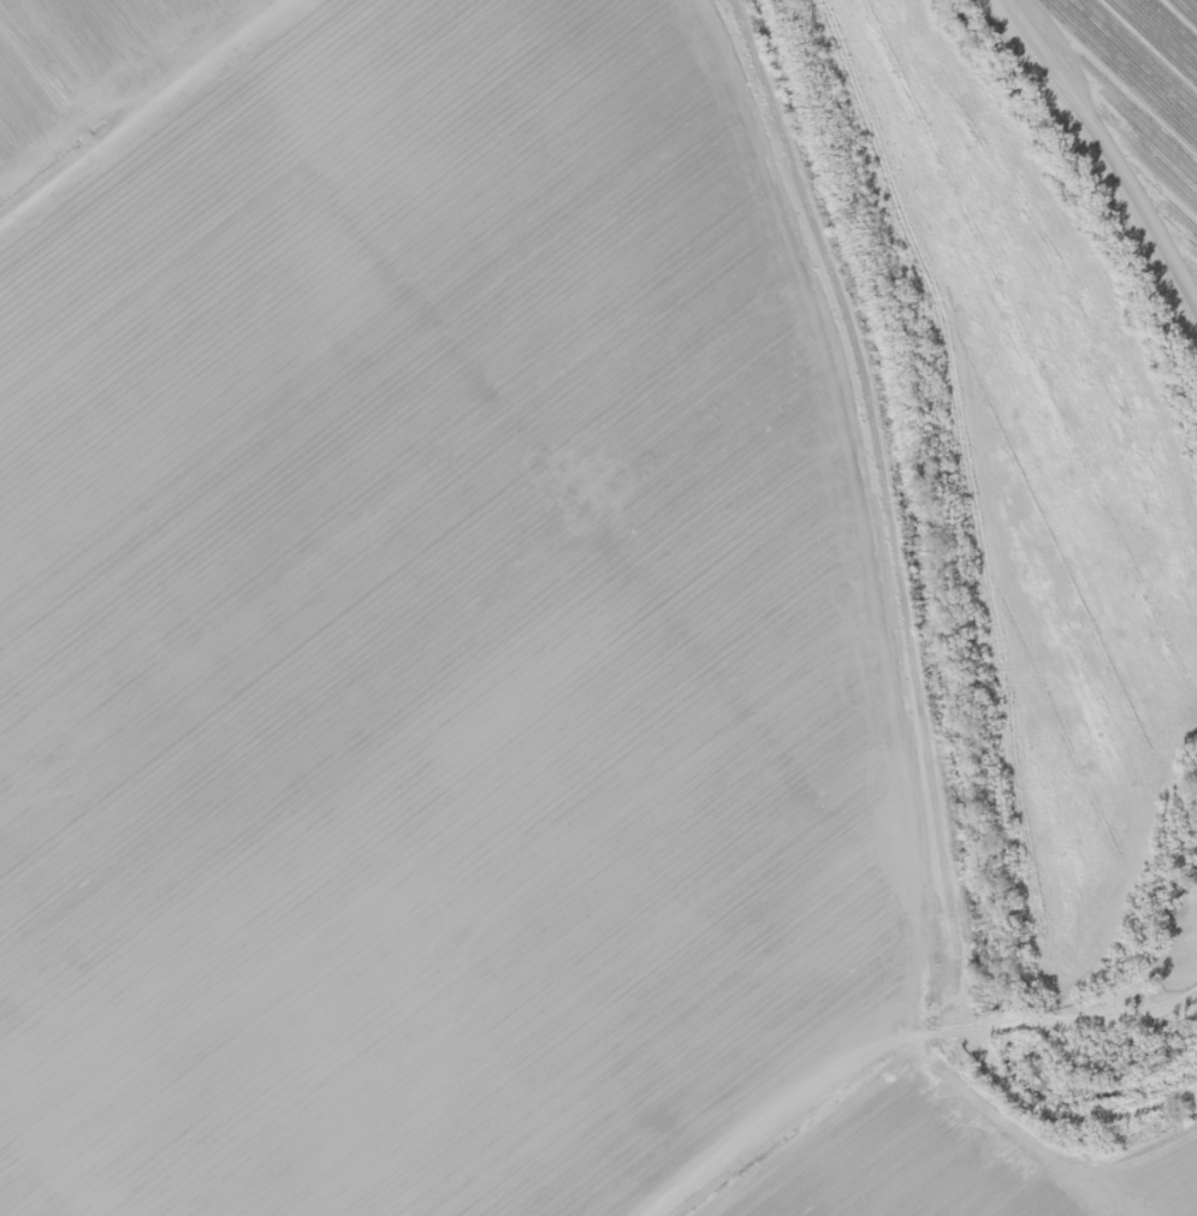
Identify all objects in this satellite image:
road: (144, 113)
road: (1101, 167)
road: (1094, 1008)
road: (1082, 1122)

